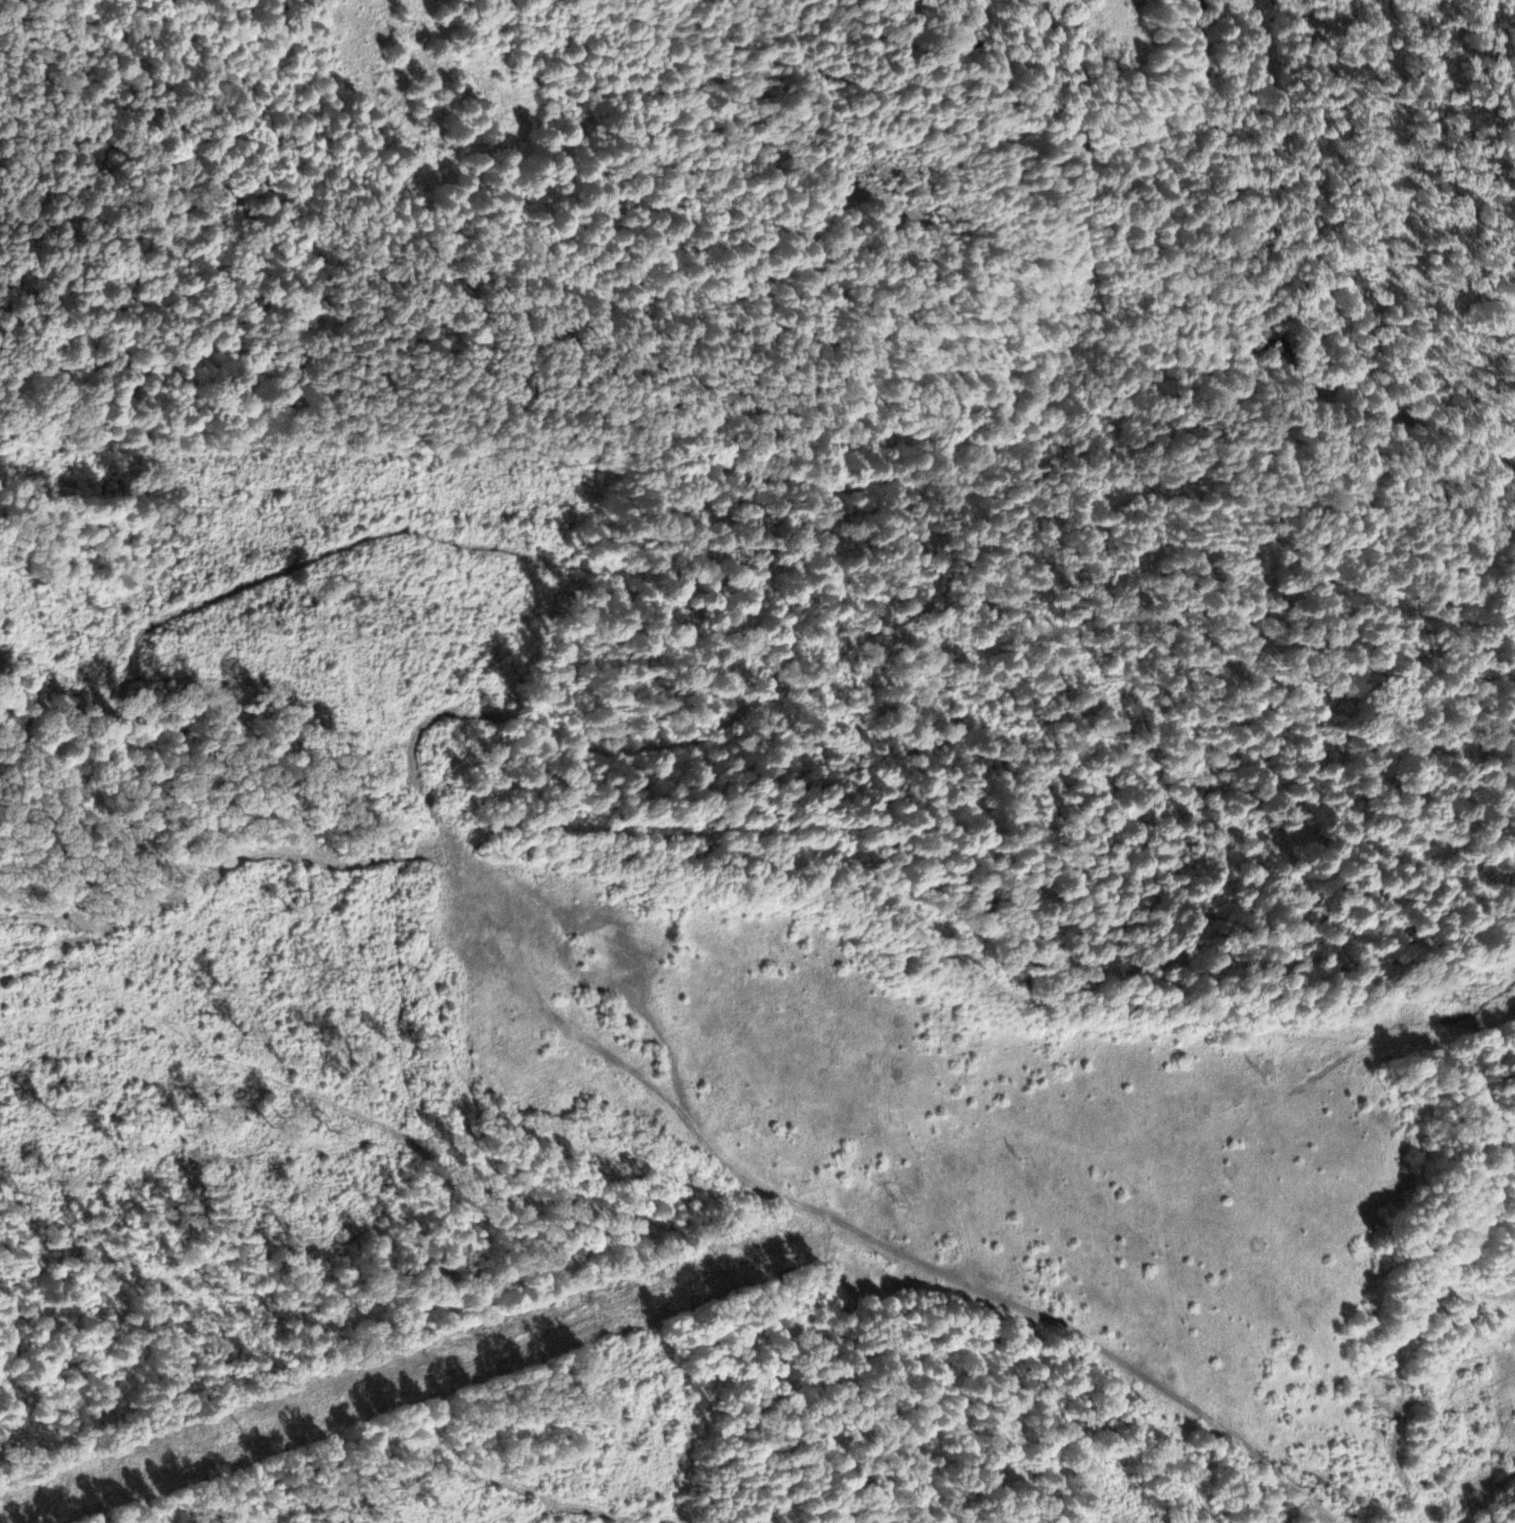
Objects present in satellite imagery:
road: (74, 2)
road: (1306, 200)
road: (1445, 431)
road: (744, 461)
power tower: (1463, 1004)
power tower: (1269, 1070)
power tower: (1025, 1153)
power tower: (905, 1194)
power tower: (651, 1280)
power tower: (430, 1356)
power tower: (246, 1418)
power tower: (39, 1489)

